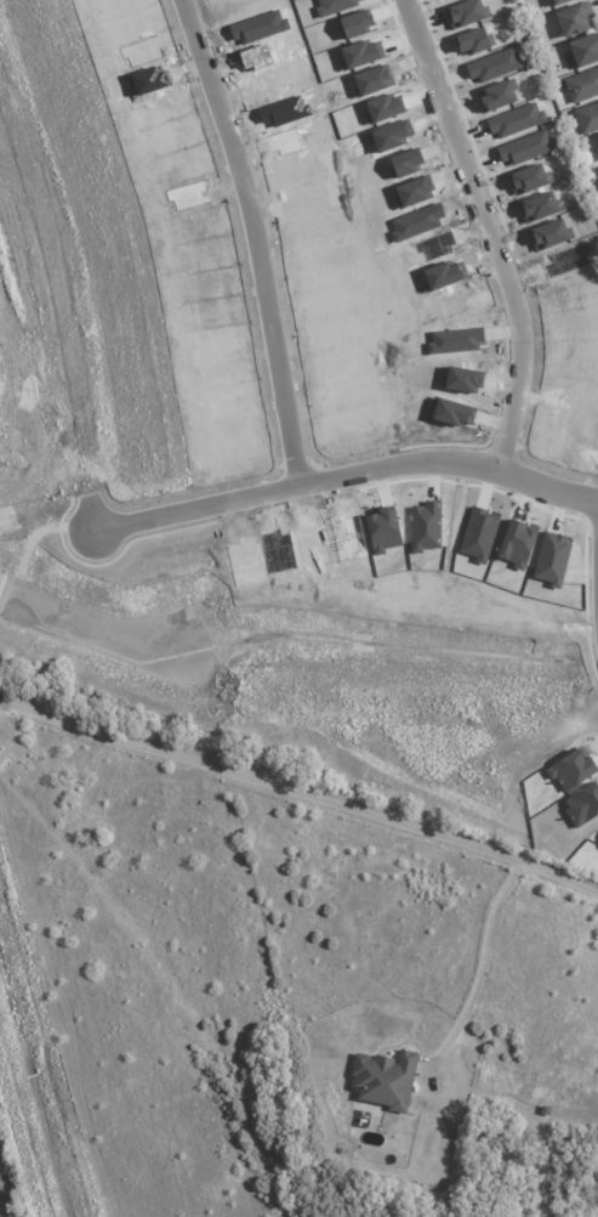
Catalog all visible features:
building: (557, 1)
building: (334, 6)
building: (465, 13)
building: (574, 18)
building: (355, 23)
building: (472, 40)
building: (585, 50)
building: (360, 53)
building: (494, 64)
building: (372, 80)
building: (581, 85)
building: (495, 96)
building: (383, 107)
building: (587, 118)
building: (514, 119)
building: (391, 135)
building: (525, 147)
building: (405, 163)
building: (597, 172)
building: (528, 179)
building: (414, 192)
building: (537, 206)
building: (416, 221)
road: (489, 233)
building: (548, 234)
road: (254, 238)
building: (435, 244)
building: (565, 260)
building: (443, 274)
building: (568, 293)
building: (459, 302)
road: (57, 322)
building: (575, 323)
building: (455, 340)
road: (347, 475)
building: (551, 559)
road: (300, 793)
road: (480, 961)
building: (383, 1080)

